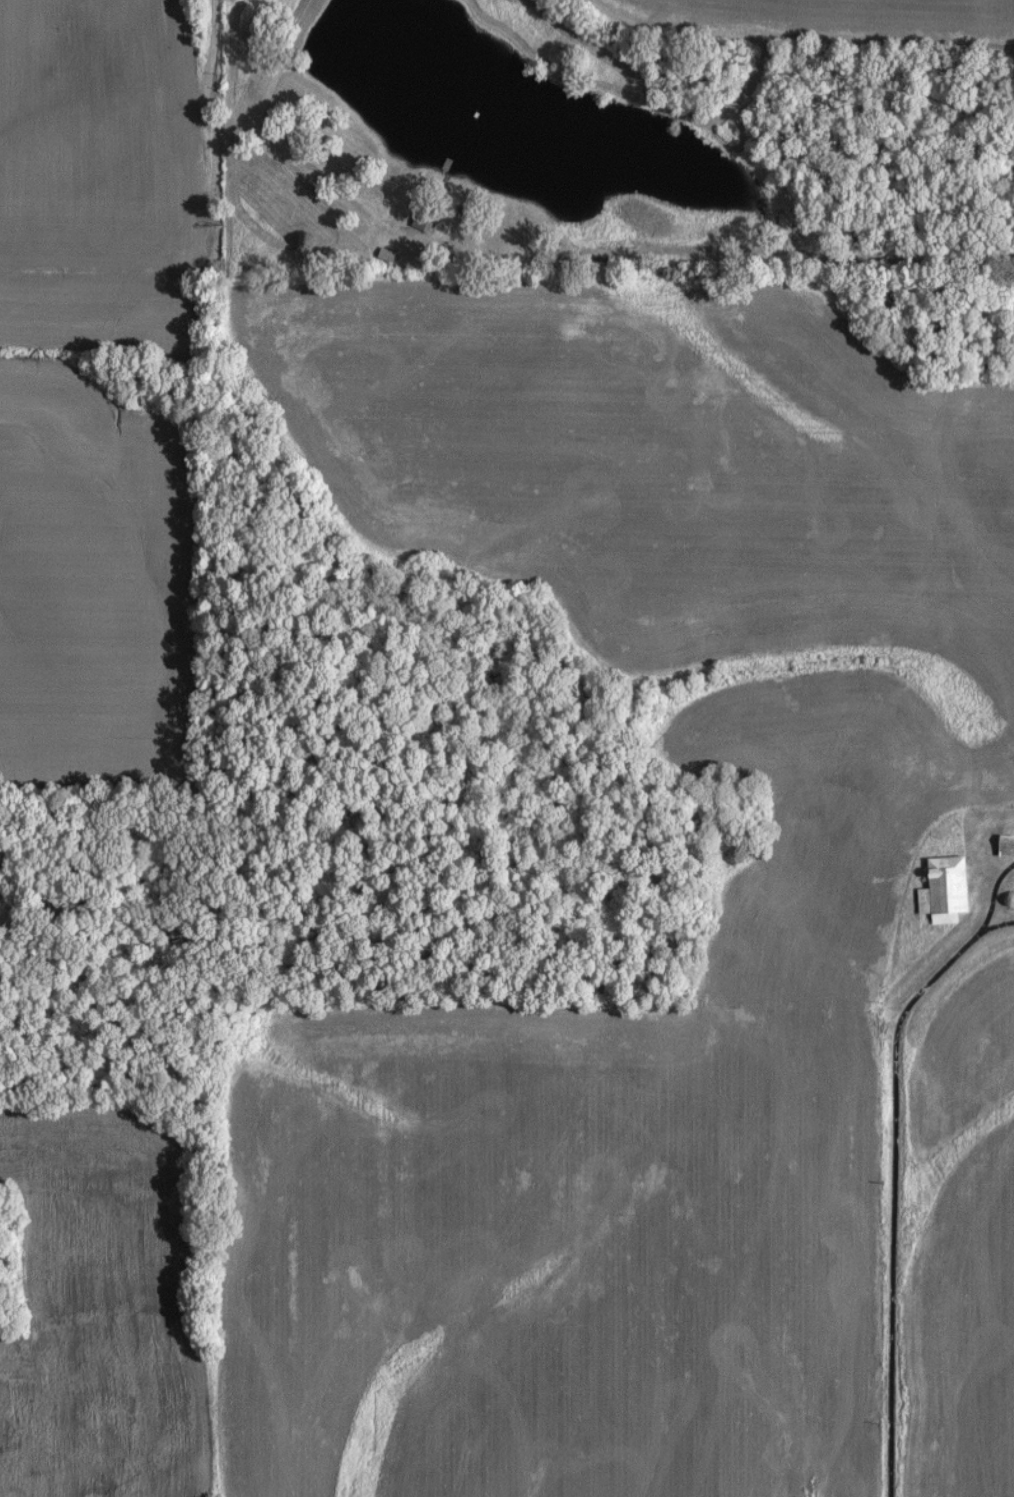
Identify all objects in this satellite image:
building: (416, 222)
building: (943, 889)
road: (984, 918)
road: (896, 1201)

